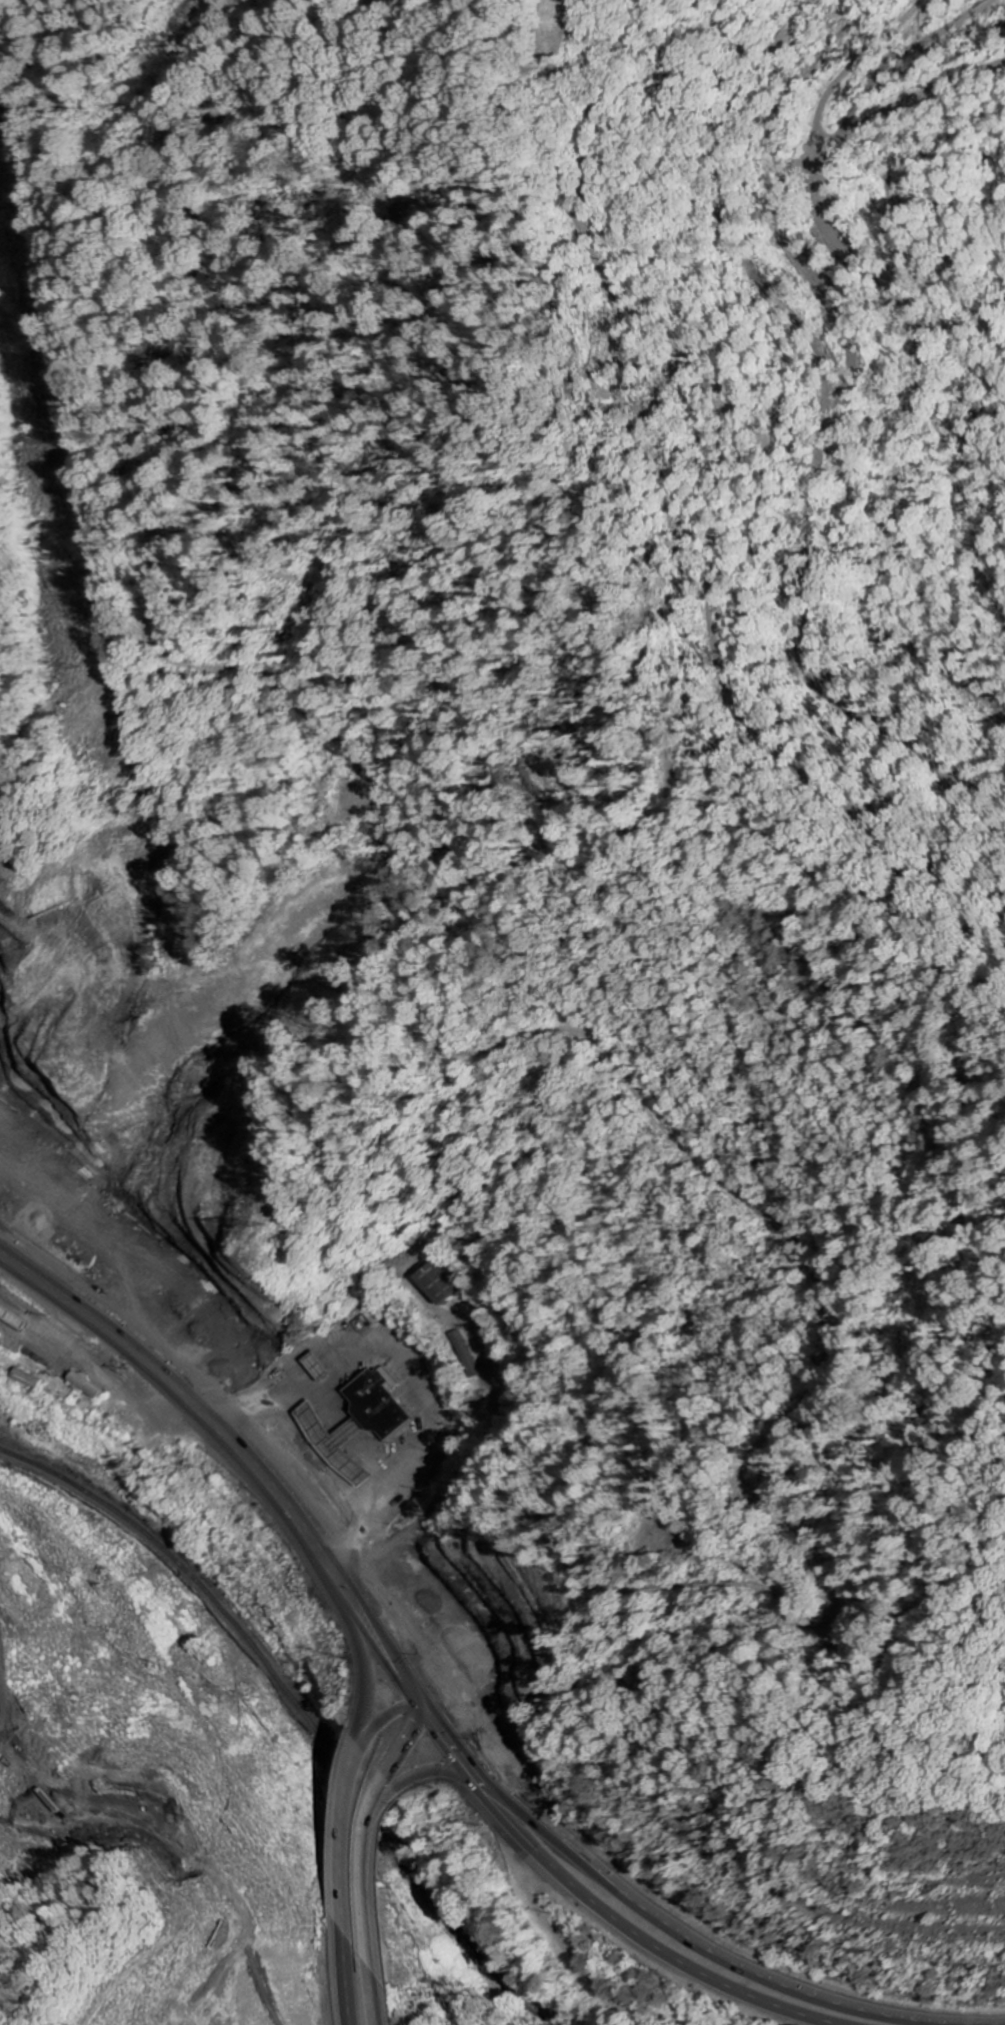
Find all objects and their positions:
power tower: (48, 444)
building: (444, 1284)
building: (14, 1315)
gas station: (14, 1315)
building: (5, 1336)
building: (317, 1363)
gas station: (317, 1363)
building: (90, 1386)
road: (173, 1389)
building: (387, 1407)
road: (256, 1433)
building: (336, 1440)
gas station: (336, 1440)
road: (368, 1627)
road: (6, 1628)
road: (362, 1658)
road: (430, 1691)
railway: (295, 1715)
road: (387, 1736)
road: (412, 1744)
road: (436, 1775)
road: (348, 1849)
road: (378, 1871)
road: (593, 1904)
road: (686, 1931)
road: (568, 1946)
road: (343, 1976)
road: (377, 1982)

